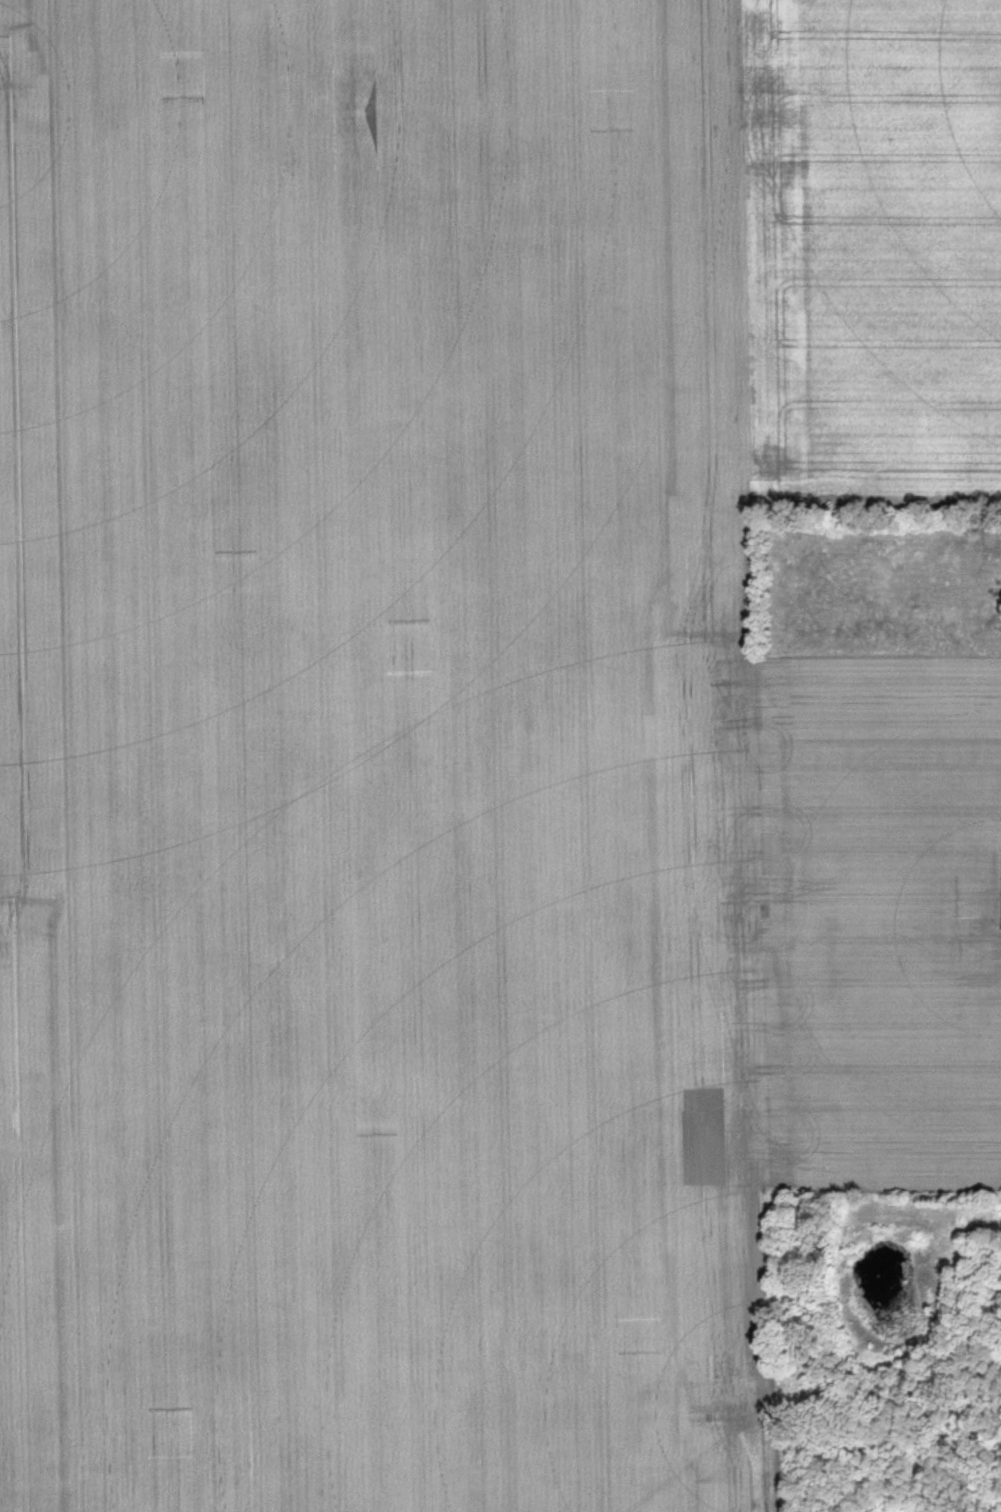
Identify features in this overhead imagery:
crop: (870, 261)
crop: (427, 778)

